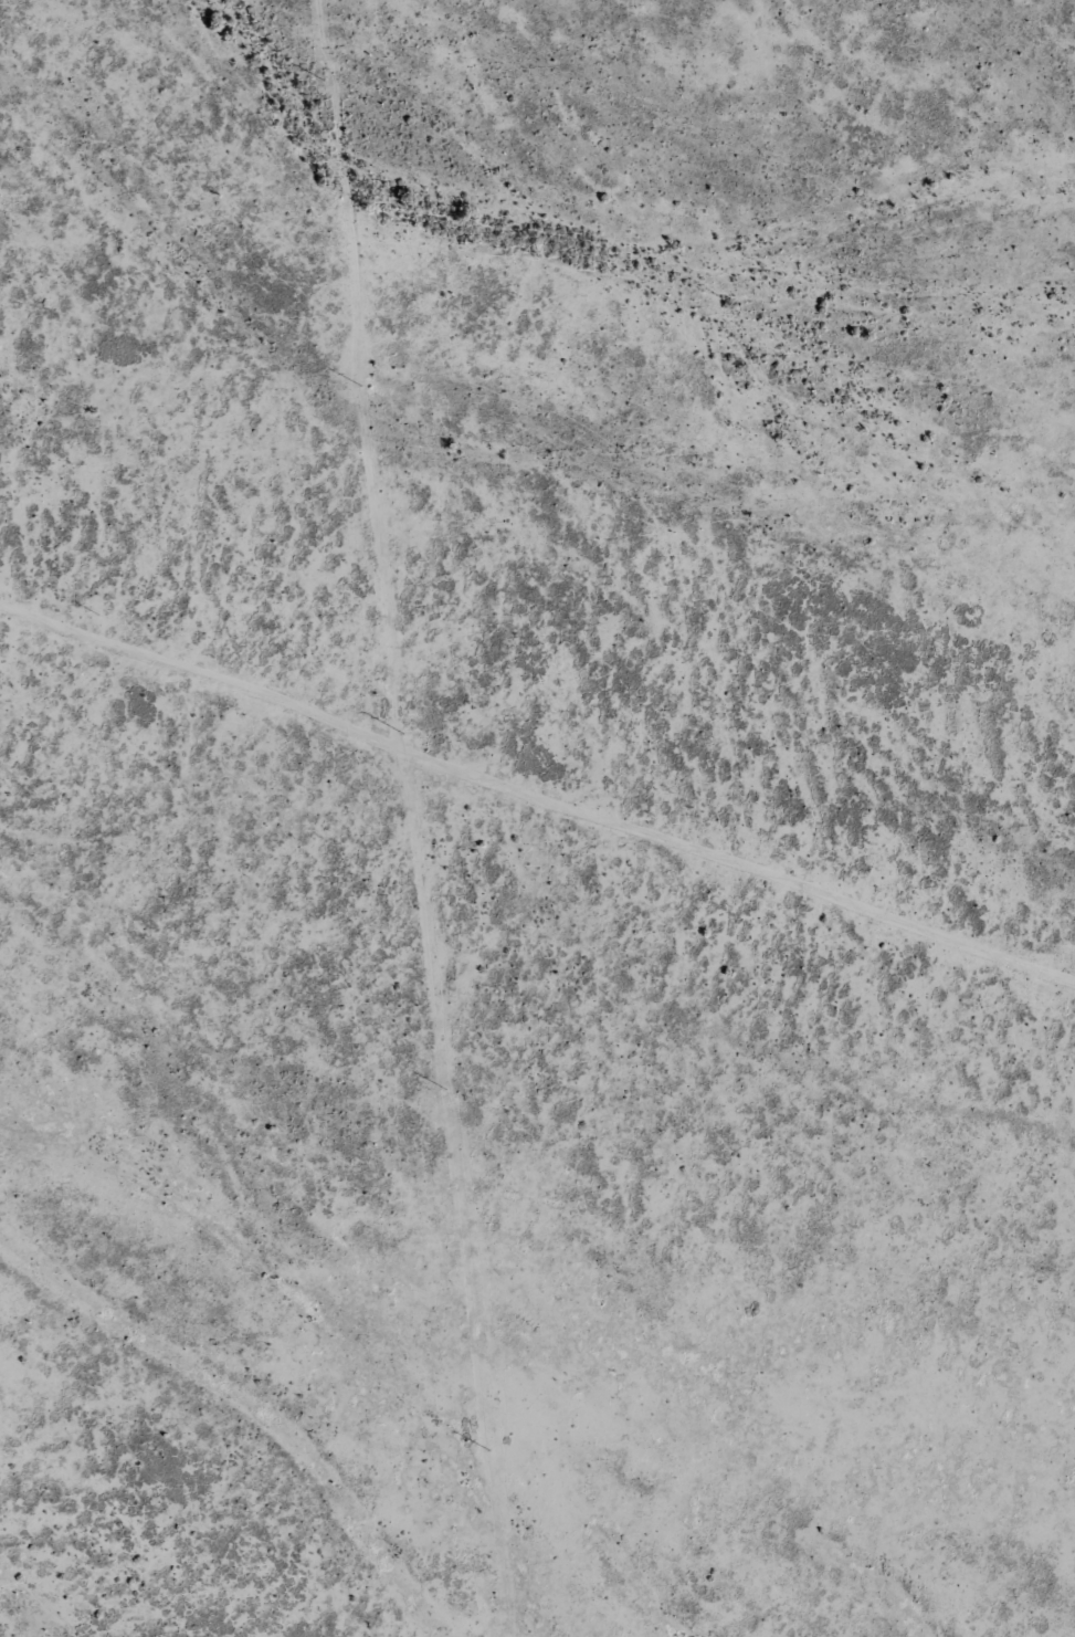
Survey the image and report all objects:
road: (541, 812)

